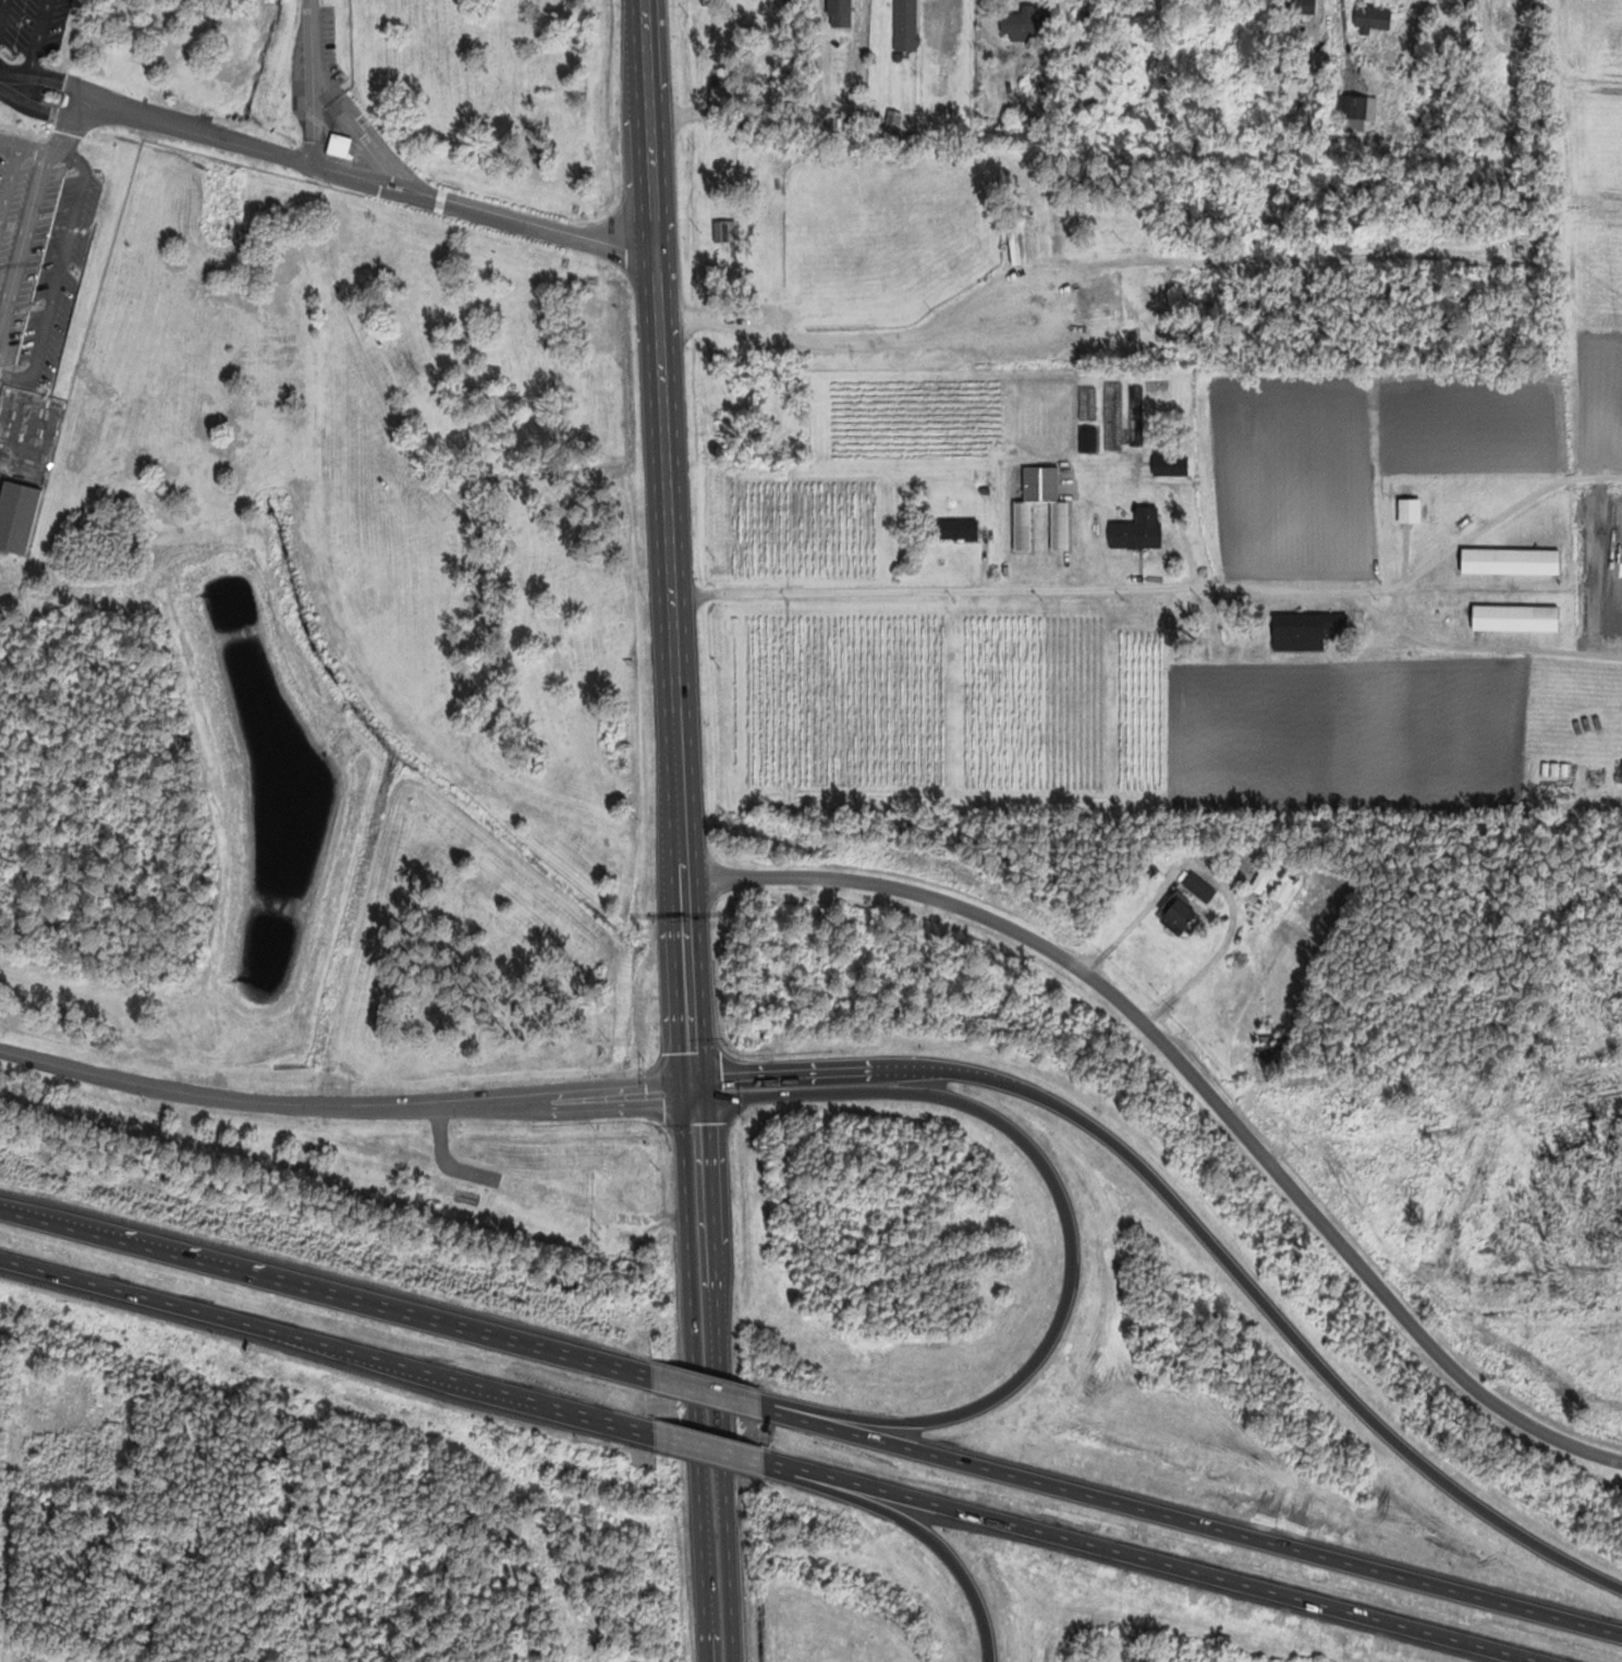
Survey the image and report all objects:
building: (843, 0)
building: (1300, 10)
building: (1216, 11)
building: (1513, 14)
building: (1127, 16)
building: (1373, 17)
building: (1025, 24)
building: (905, 25)
building: (892, 120)
building: (1351, 125)
building: (338, 145)
road: (397, 191)
building: (724, 231)
building: (1170, 465)
building: (953, 490)
building: (1408, 511)
building: (16, 515)
building: (1059, 526)
road: (1480, 526)
building: (956, 529)
building: (1137, 530)
road: (667, 543)
building: (1510, 562)
road: (1007, 587)
road: (1393, 602)
building: (1515, 619)
building: (1306, 631)
road: (1475, 644)
building: (1435, 696)
building: (1618, 773)
building: (1260, 881)
building: (1198, 889)
building: (1283, 890)
building: (1180, 915)
road: (1191, 1076)
traffic signals: (698, 1088)
road: (345, 1105)
road: (1068, 1226)
road: (1199, 1230)
road: (327, 1293)
road: (327, 1344)
road: (711, 1374)
road: (692, 1391)
road: (745, 1394)
road: (745, 1405)
road: (708, 1444)
road: (1191, 1520)
road: (911, 1525)
road: (1151, 1560)

